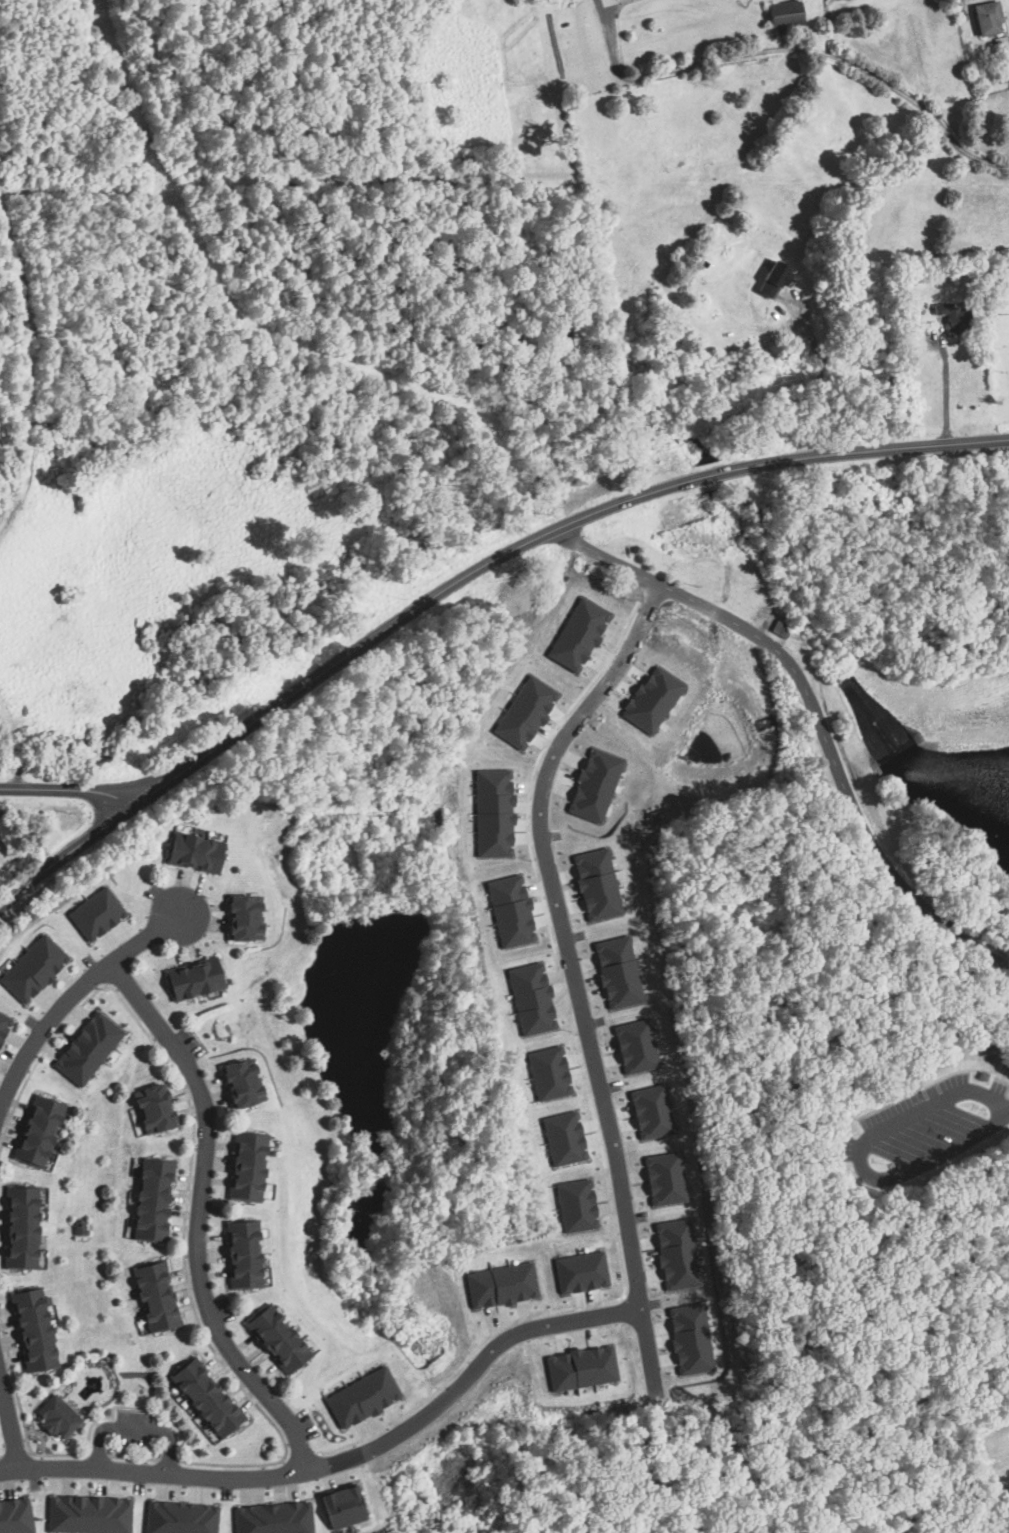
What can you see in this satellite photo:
building: (786, 12)
building: (989, 17)
road: (801, 48)
building: (775, 278)
building: (953, 316)
road: (819, 379)
road: (945, 392)
road: (547, 537)
road: (815, 718)
road: (74, 789)
building: (193, 852)
road: (73, 853)
building: (96, 914)
building: (243, 918)
building: (34, 969)
road: (583, 969)
building: (192, 978)
road: (70, 996)
park: (854, 1022)
building: (4, 1025)
building: (88, 1049)
building: (549, 1073)
building: (982, 1077)
building: (241, 1083)
building: (154, 1109)
parking lot: (924, 1130)
building: (37, 1132)
road: (861, 1157)
building: (245, 1167)
building: (665, 1177)
building: (152, 1201)
building: (577, 1204)
road: (197, 1221)
building: (20, 1228)
building: (677, 1253)
building: (241, 1255)
building: (581, 1271)
building: (502, 1284)
building: (155, 1297)
building: (33, 1331)
building: (691, 1338)
building: (275, 1340)
building: (581, 1367)
building: (361, 1397)
building: (205, 1399)
building: (57, 1418)
road: (10, 1423)
road: (135, 1429)
road: (350, 1461)
building: (343, 1506)
building: (89, 1514)
building: (15, 1516)
building: (180, 1517)
building: (273, 1518)

